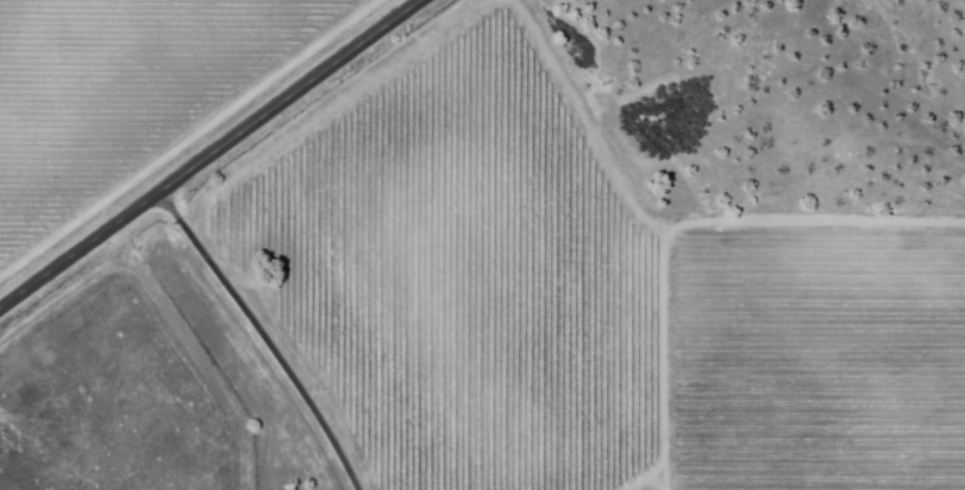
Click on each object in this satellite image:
road: (209, 153)
road: (265, 335)

